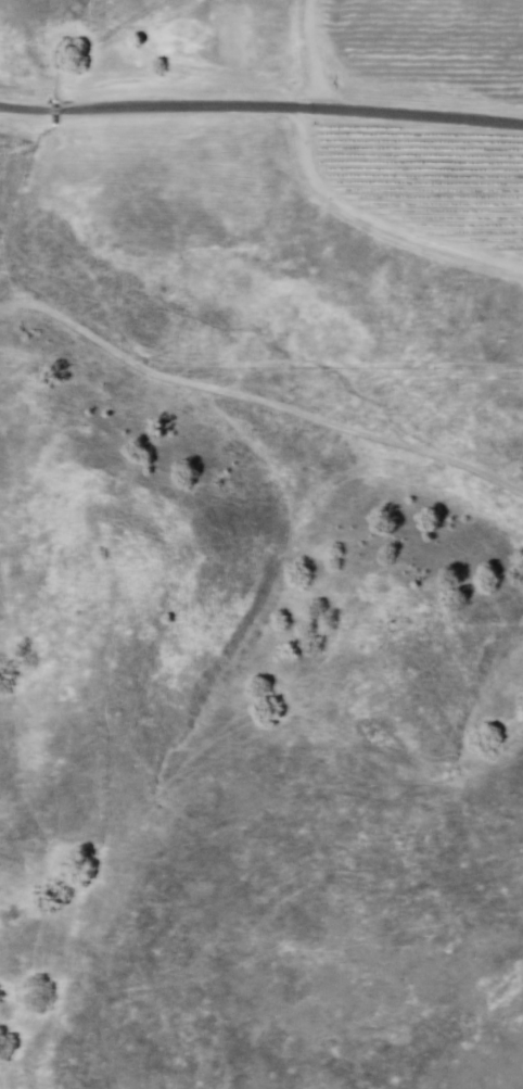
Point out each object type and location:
road: (318, 54)
road: (261, 110)
road: (379, 223)
road: (258, 403)

